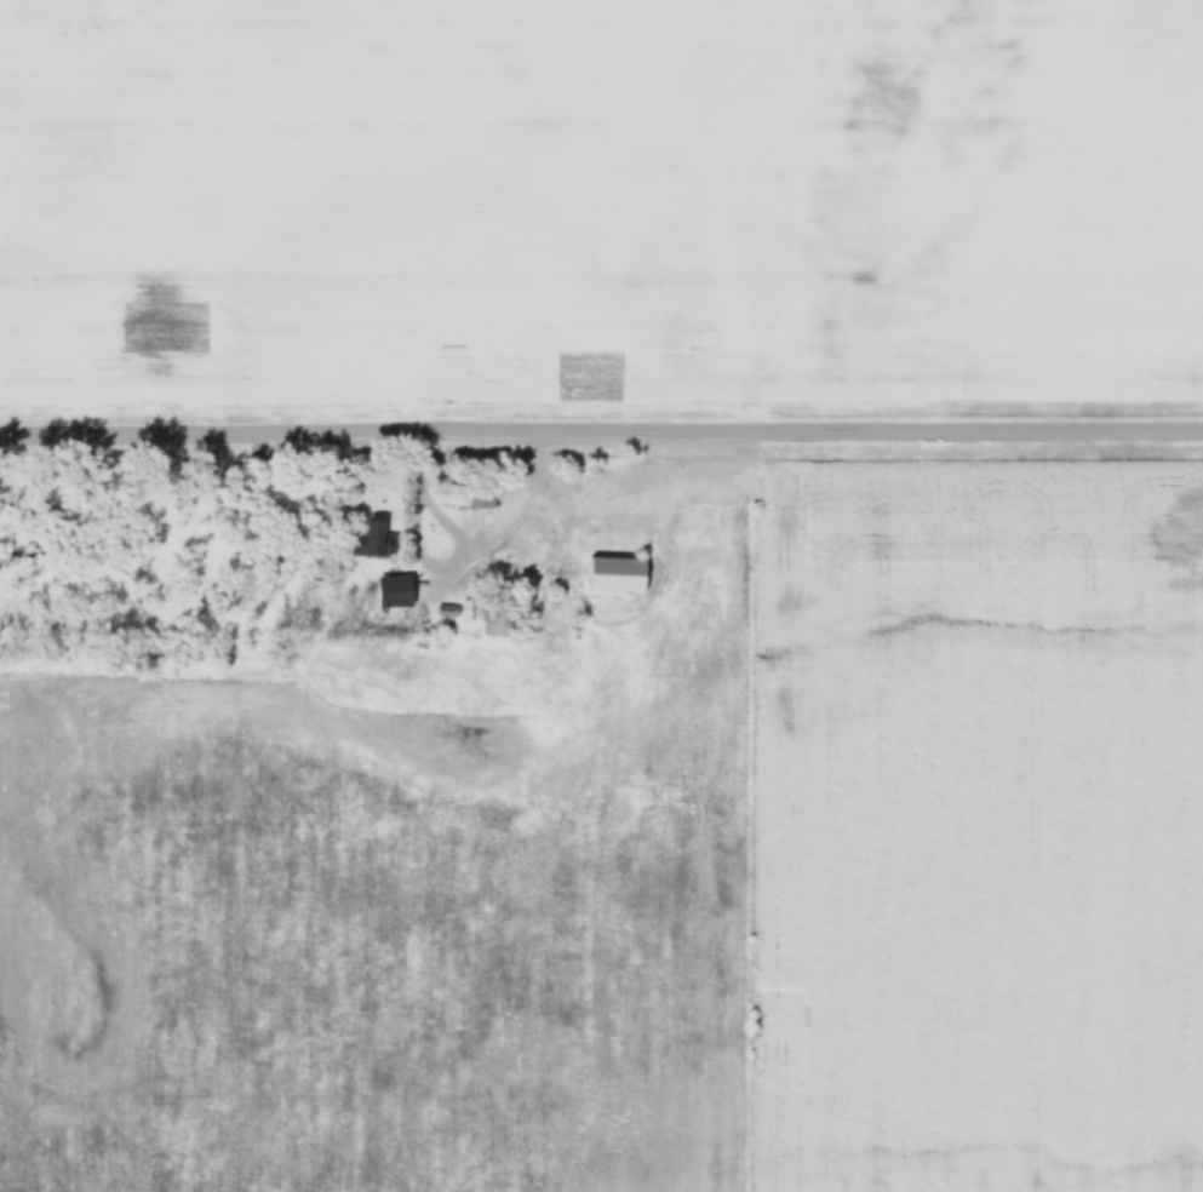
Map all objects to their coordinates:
road: (601, 430)
building: (472, 500)
building: (372, 539)
building: (613, 575)
building: (401, 591)
building: (498, 619)

